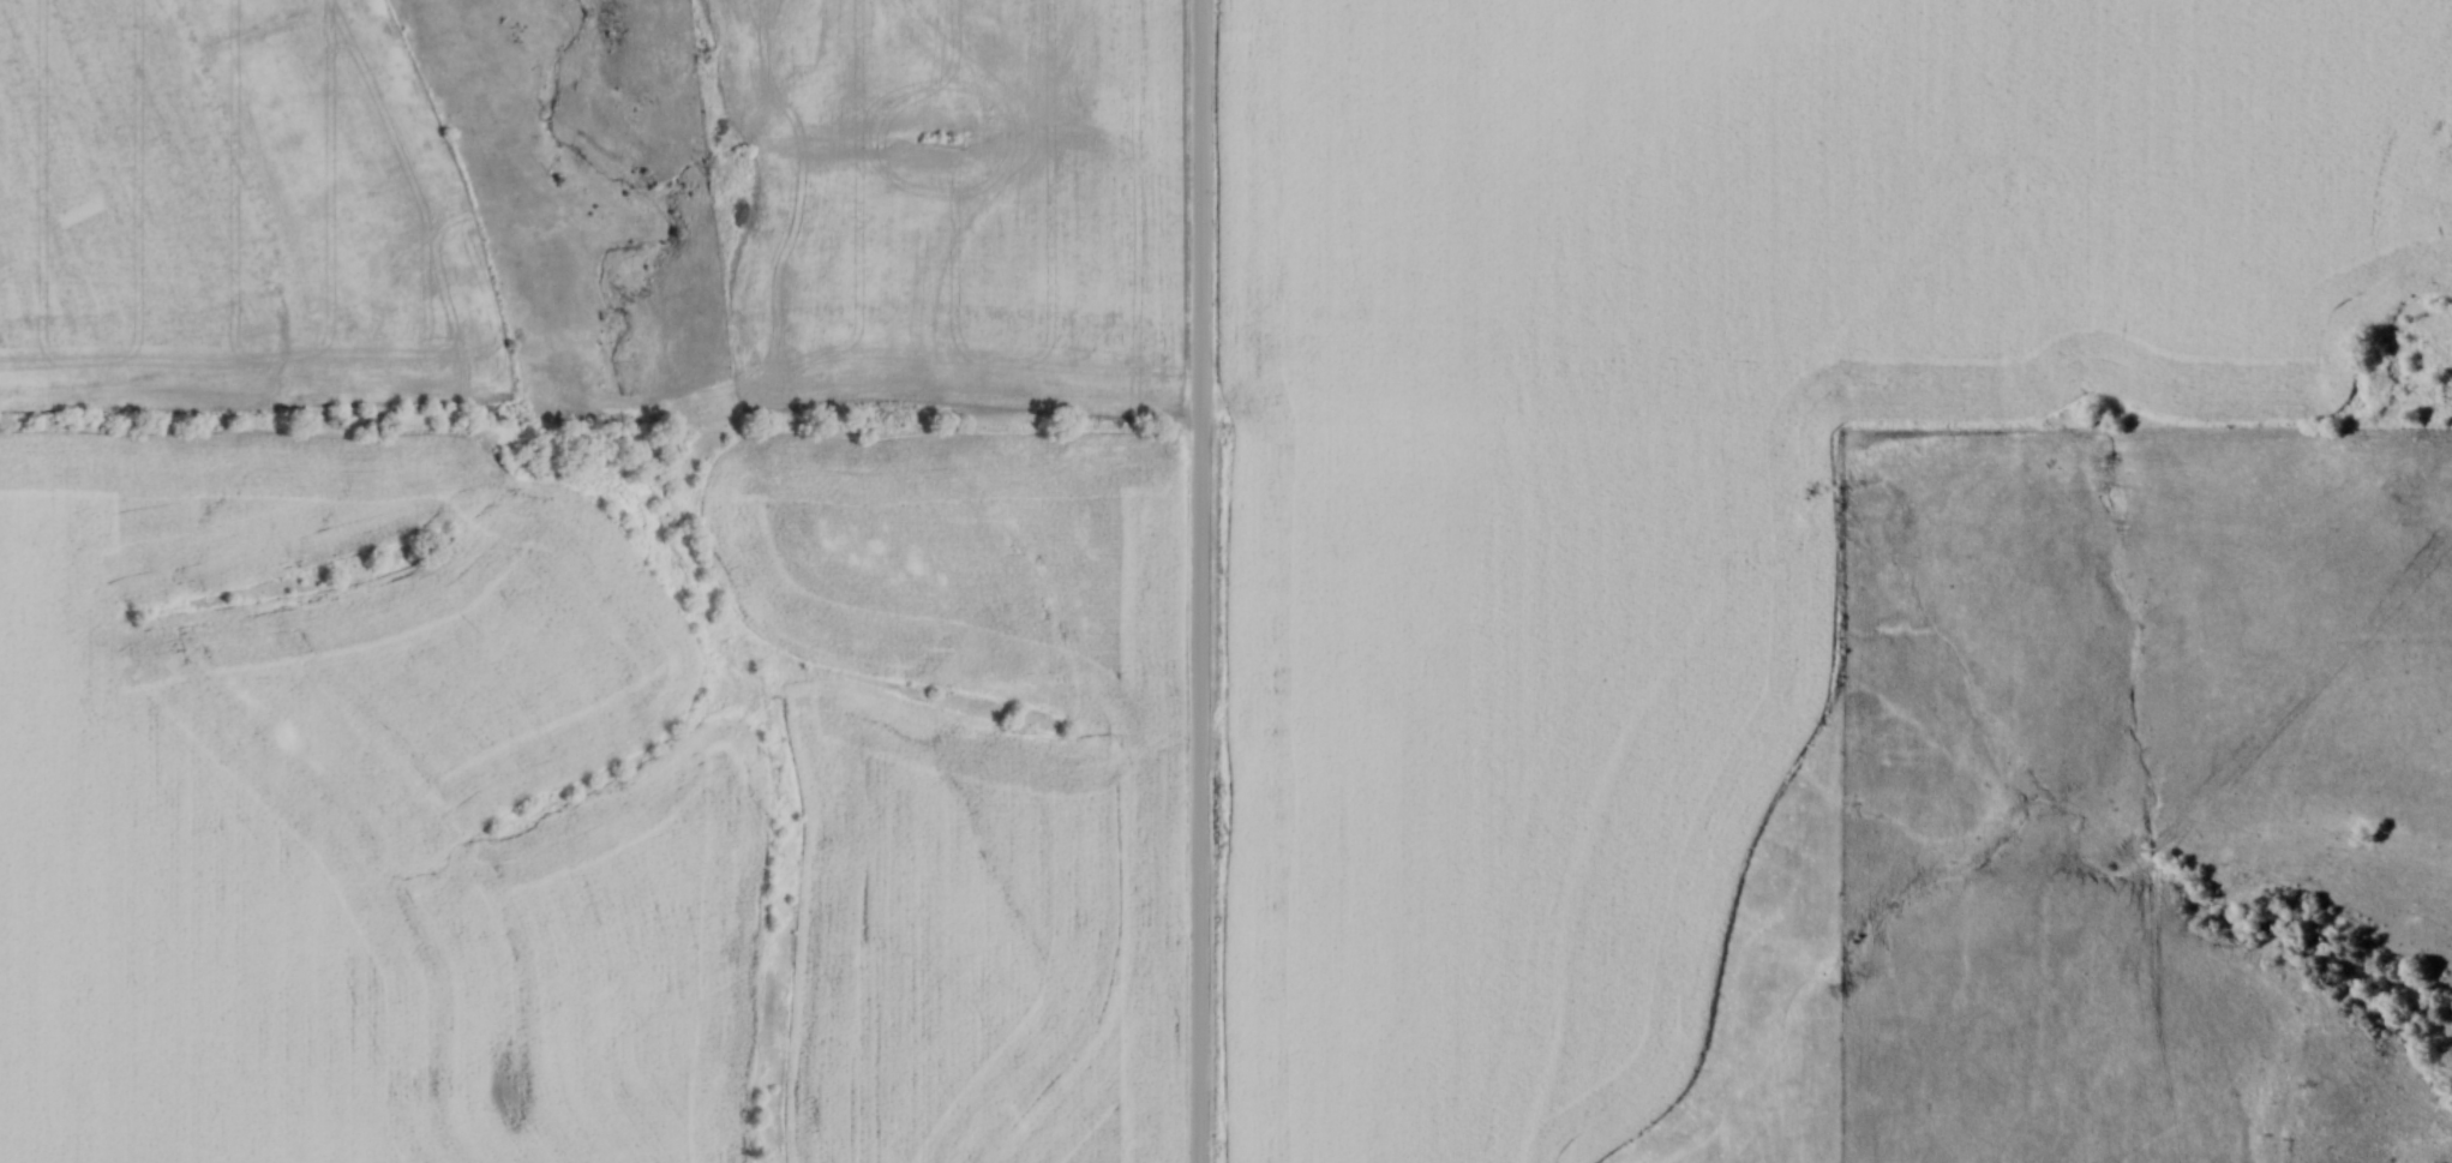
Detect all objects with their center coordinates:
road: (1205, 581)

